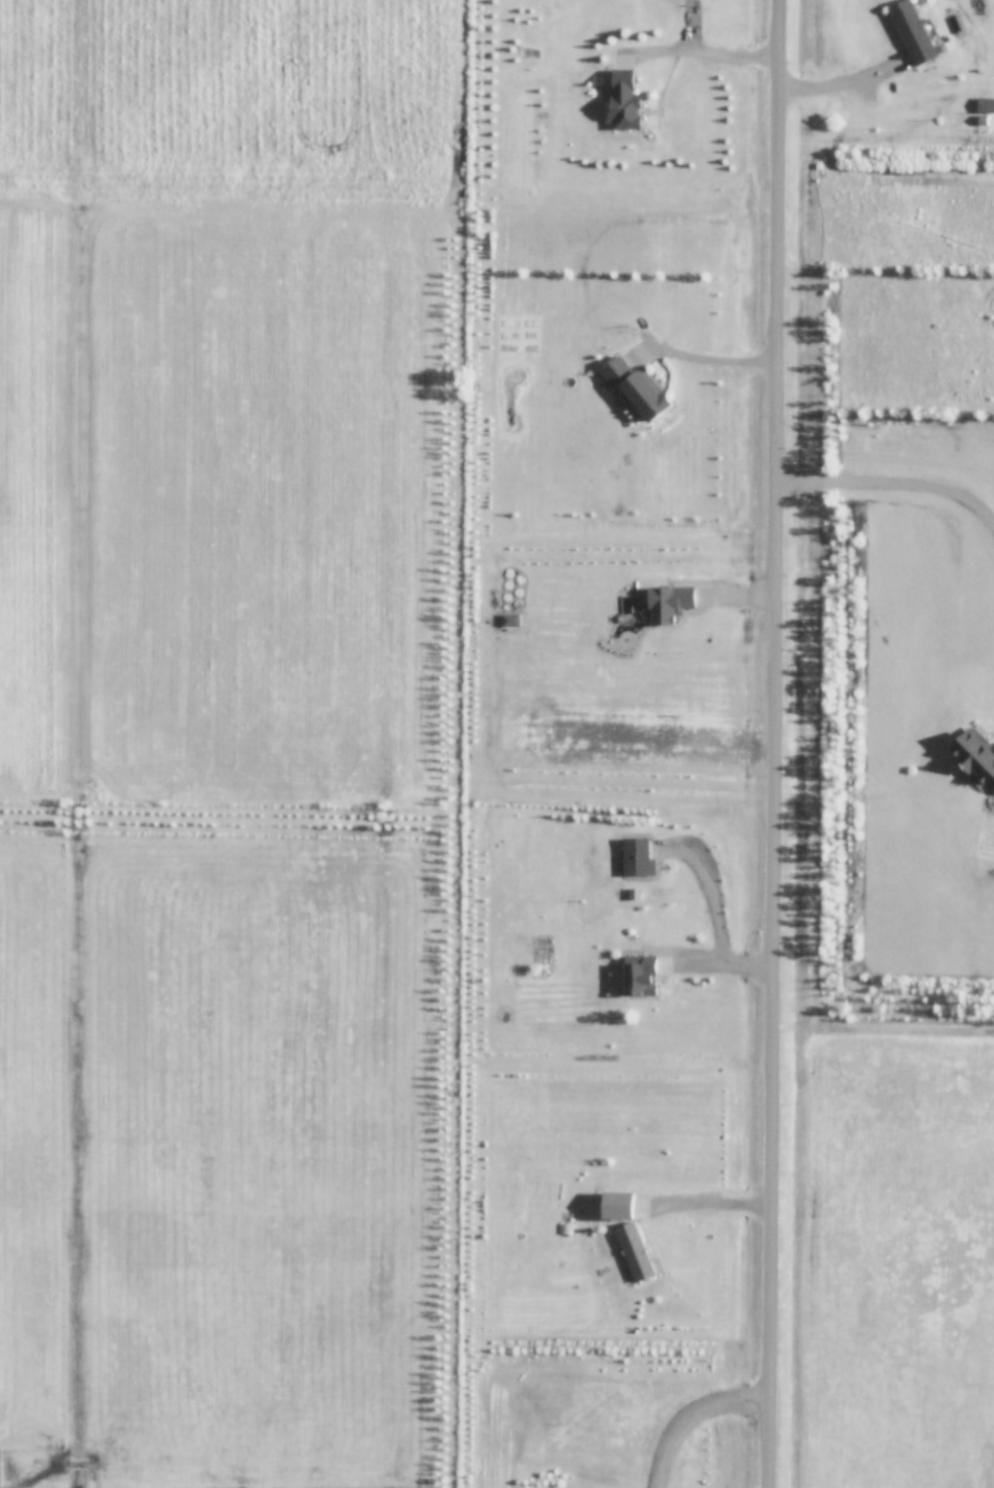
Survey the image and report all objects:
building: (914, 33)
road: (705, 52)
road: (842, 83)
building: (626, 101)
building: (930, 103)
road: (709, 359)
building: (637, 388)
road: (894, 481)
building: (671, 602)
road: (778, 743)
building: (976, 753)
building: (639, 857)
road: (715, 889)
road: (728, 966)
building: (642, 979)
road: (715, 1204)
building: (566, 1230)
building: (637, 1251)
road: (694, 1417)

